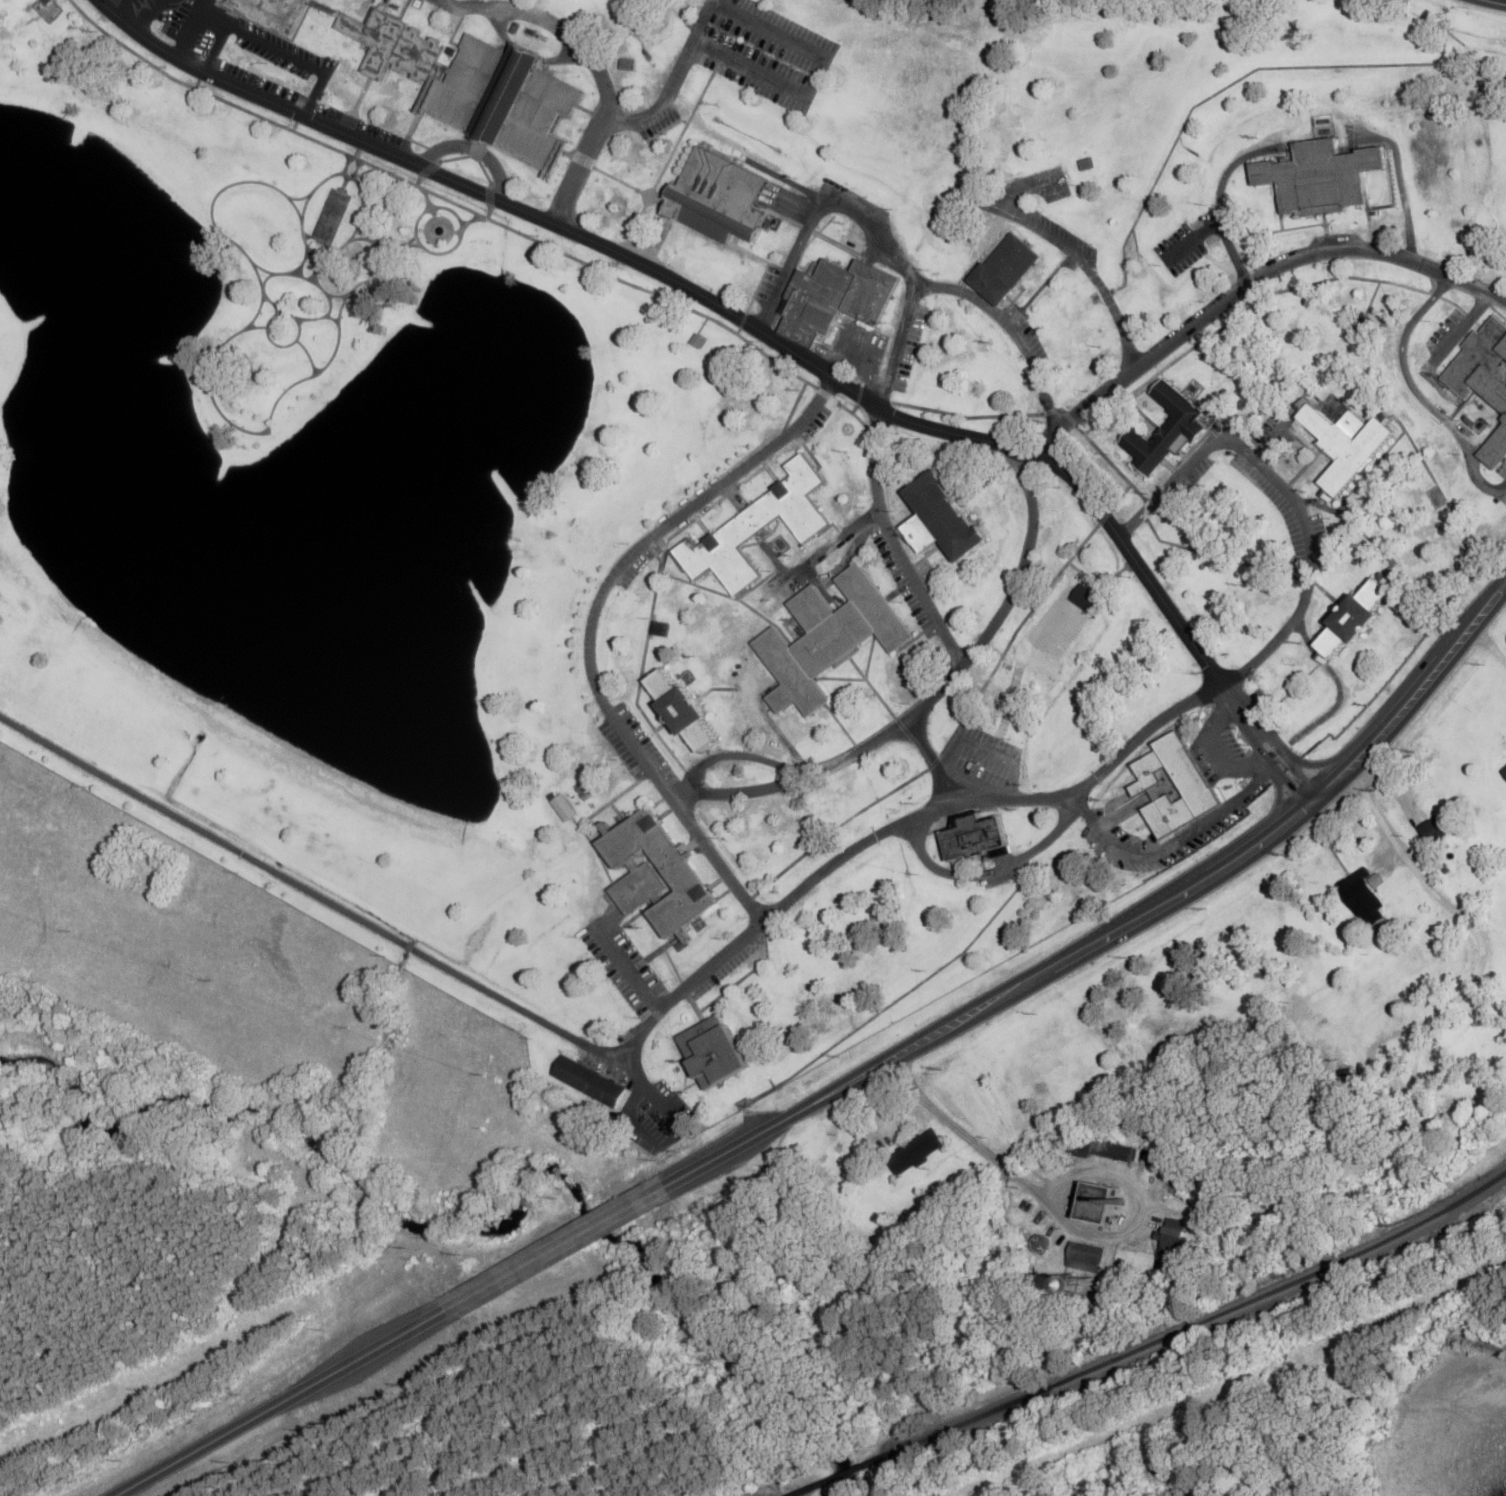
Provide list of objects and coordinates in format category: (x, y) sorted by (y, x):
road: (1502, 0)
road: (445, 1)
building: (272, 11)
road: (550, 23)
road: (761, 25)
road: (144, 37)
building: (506, 99)
road: (580, 164)
building: (1320, 177)
road: (452, 179)
road: (1399, 181)
road: (1025, 191)
building: (718, 197)
road: (1218, 200)
road: (819, 210)
road: (1044, 232)
road: (1191, 240)
building: (1005, 268)
road: (1247, 284)
road: (960, 290)
building: (832, 298)
road: (1117, 320)
building: (1364, 323)
road: (1460, 329)
building: (698, 340)
building: (1482, 380)
road: (1417, 393)
building: (1166, 431)
building: (1346, 444)
road: (1031, 454)
road: (1505, 488)
building: (942, 520)
building: (757, 528)
road: (895, 543)
building: (1086, 597)
building: (1355, 618)
building: (661, 628)
building: (829, 638)
road: (1339, 684)
road: (1414, 695)
building: (682, 709)
dam: (231, 710)
road: (1222, 754)
road: (1289, 757)
road: (932, 760)
road: (1322, 761)
road: (1110, 762)
road: (1277, 767)
building: (1503, 770)
building: (1193, 782)
road: (680, 794)
road: (1312, 796)
road: (1278, 805)
building: (565, 808)
building: (1437, 827)
building: (976, 839)
road: (1168, 846)
road: (717, 861)
building: (685, 879)
building: (637, 887)
road: (1187, 890)
building: (1365, 895)
road: (348, 913)
road: (627, 967)
road: (927, 1036)
building: (714, 1051)
building: (590, 1080)
road: (1406, 1110)
road: (961, 1131)
road: (735, 1146)
building: (1107, 1150)
building: (916, 1152)
building: (1097, 1202)
river: (512, 1218)
building: (1173, 1237)
road: (556, 1248)
building: (1086, 1256)
railway: (1206, 1320)
road: (362, 1356)
road: (194, 1449)
railway: (844, 1473)

